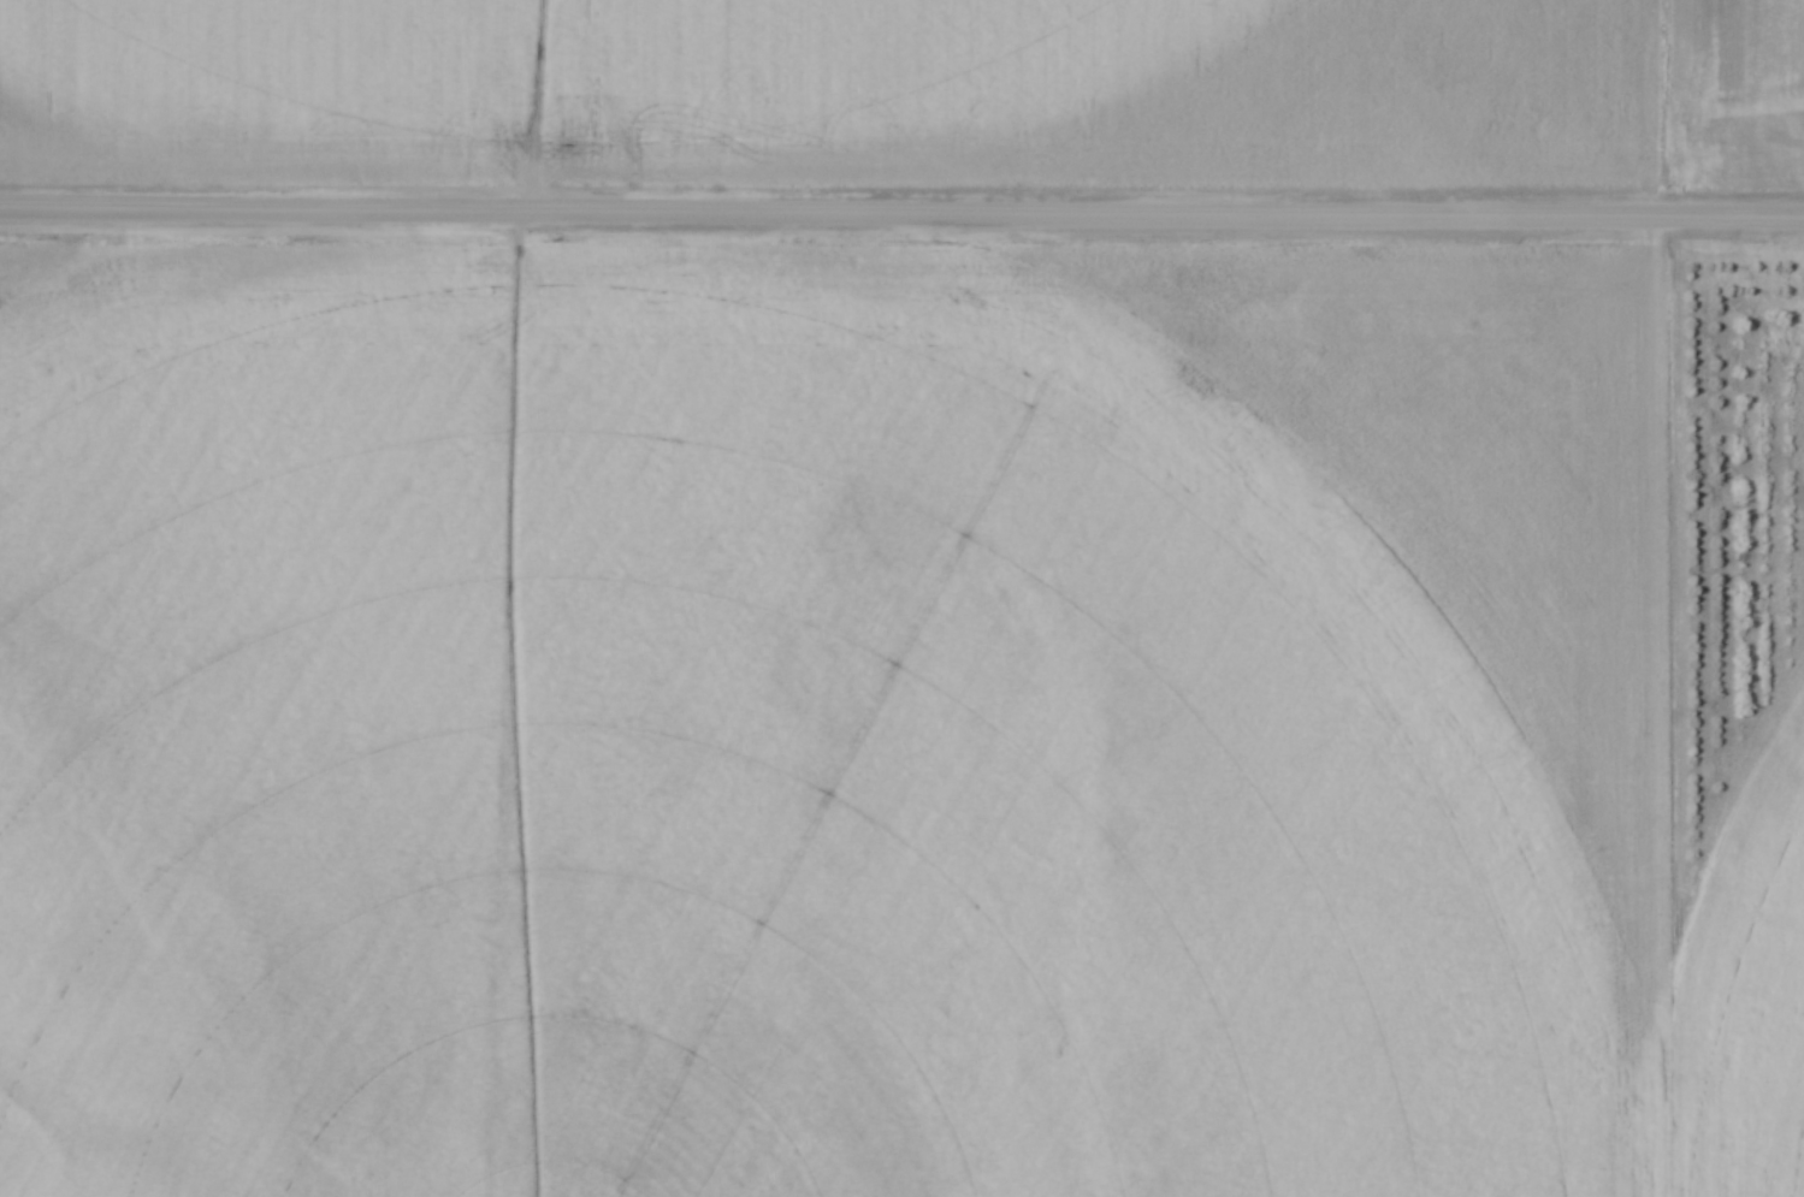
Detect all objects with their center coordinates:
road: (901, 211)

